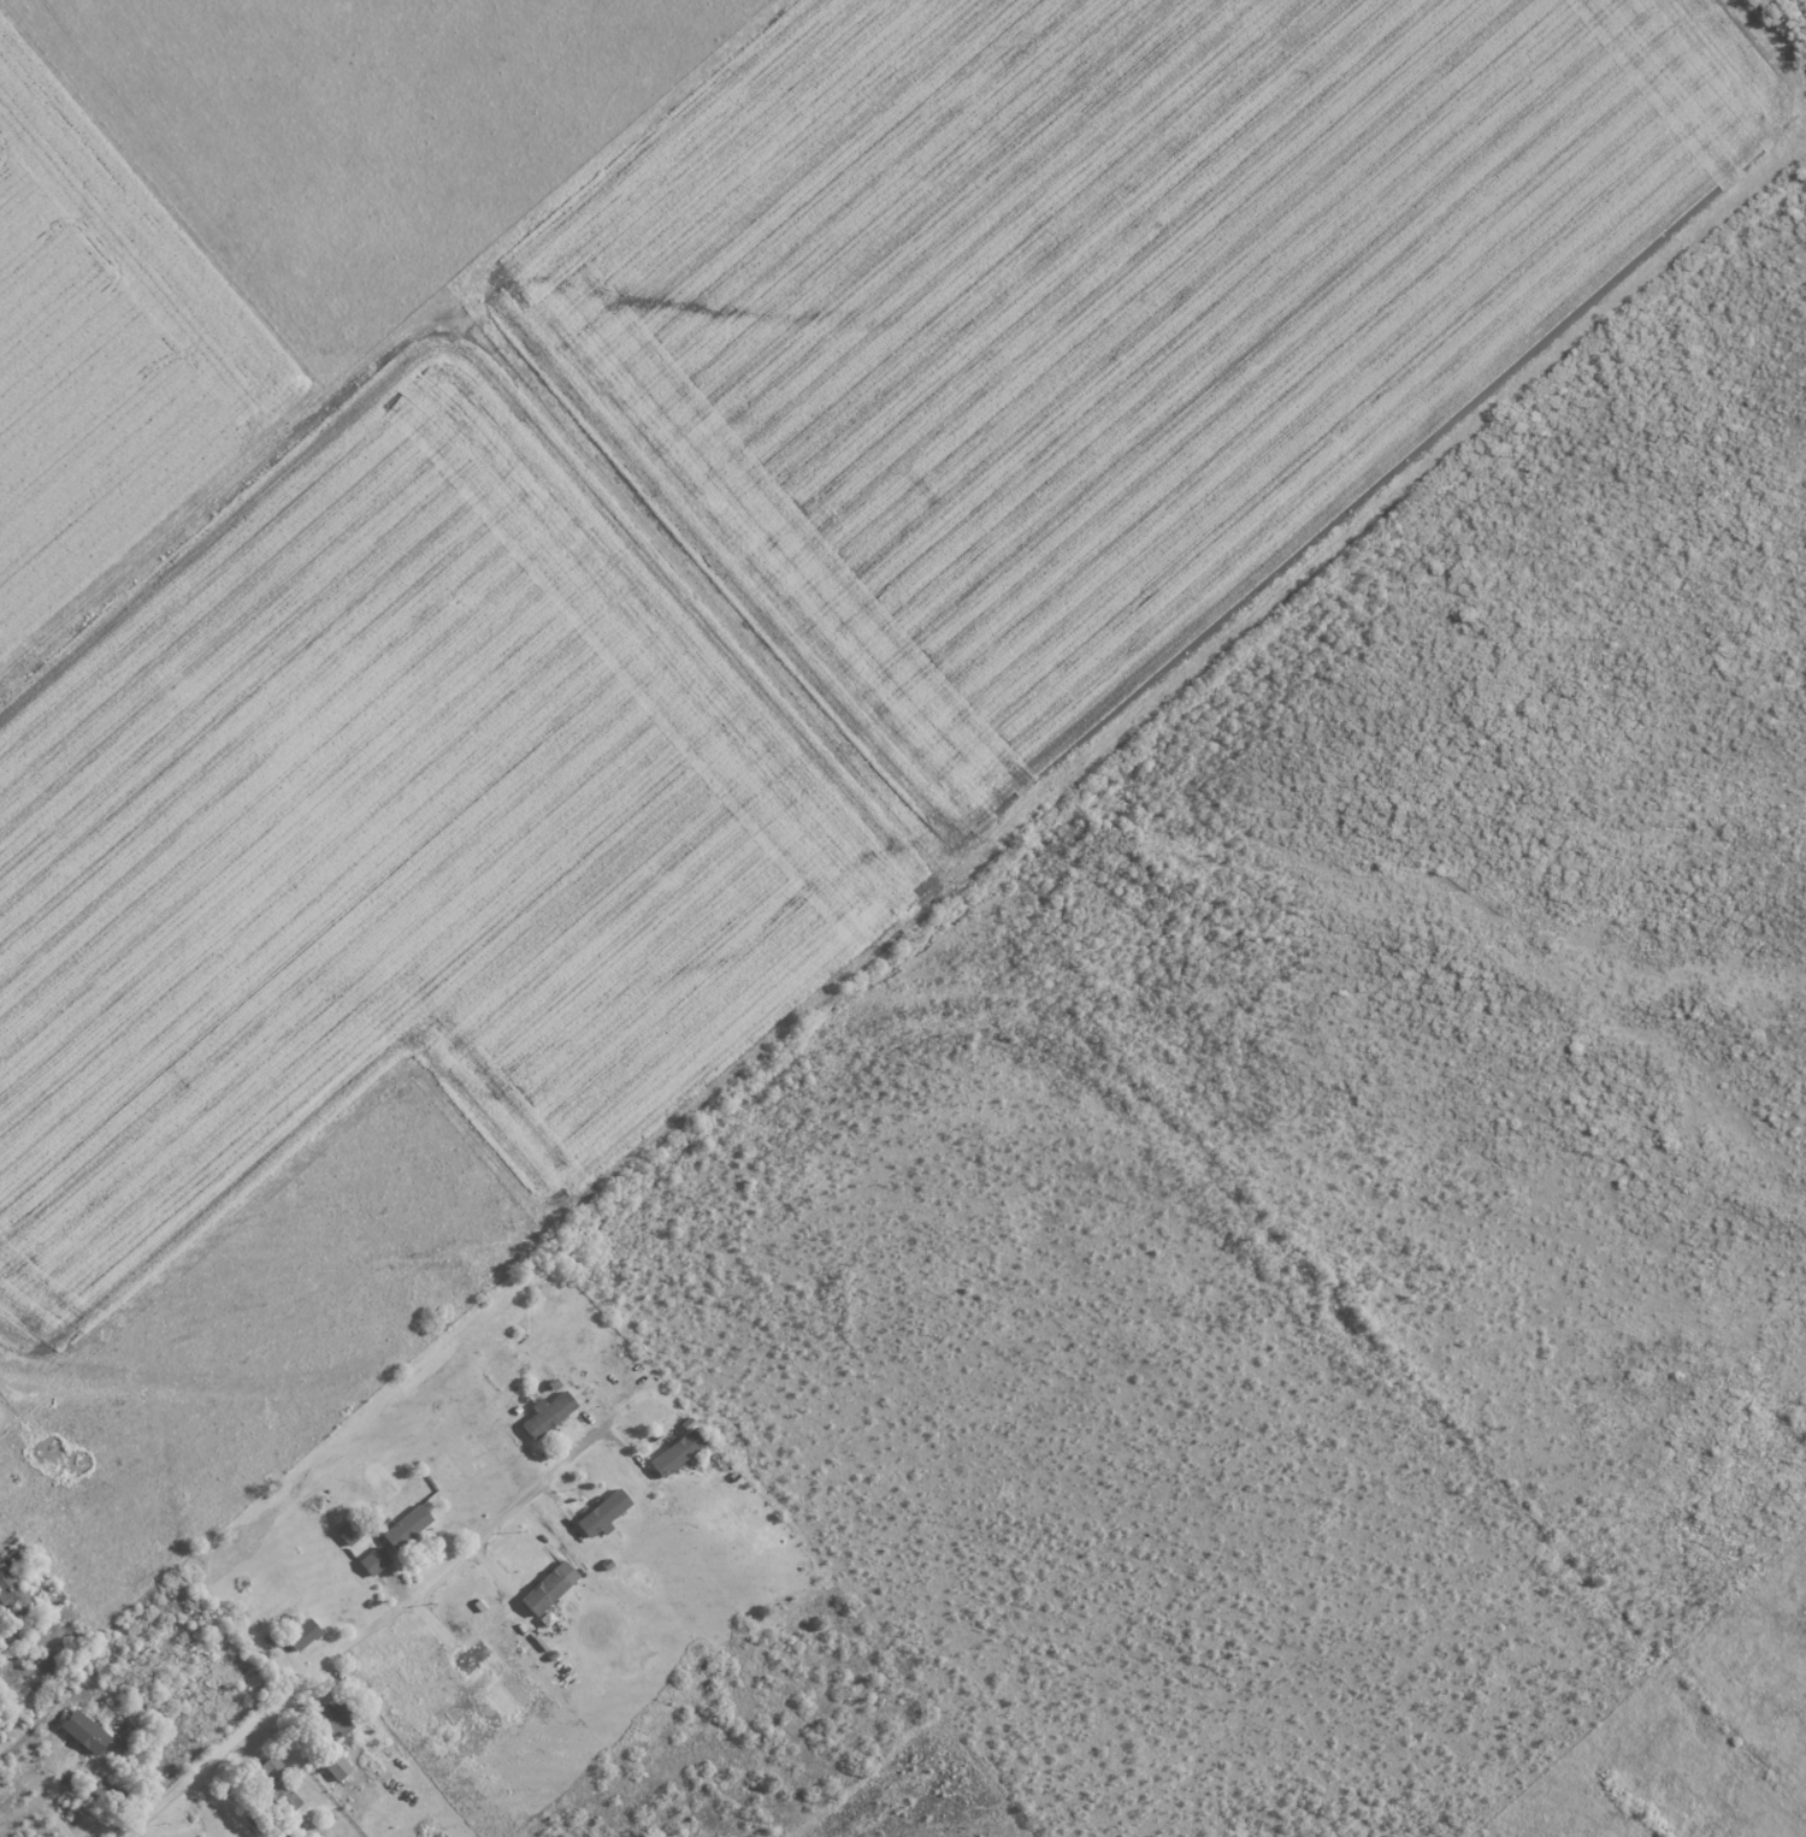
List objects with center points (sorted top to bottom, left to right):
building: (544, 1412)
building: (672, 1451)
building: (597, 1512)
building: (401, 1526)
building: (368, 1560)
building: (543, 1588)
building: (10, 1589)
building: (297, 1634)
road: (359, 1634)
building: (466, 1658)
building: (78, 1731)
building: (332, 1767)
building: (273, 1783)

